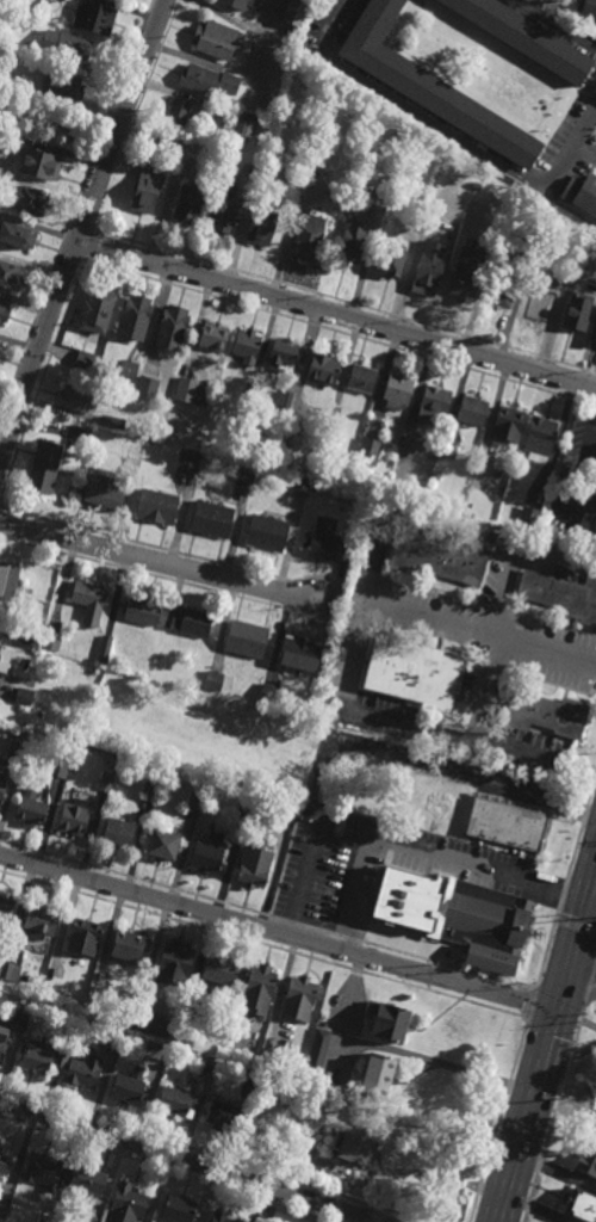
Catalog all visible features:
building: (58, 0)
building: (236, 4)
building: (32, 7)
building: (586, 8)
building: (46, 13)
building: (293, 13)
road: (542, 13)
building: (92, 19)
road: (546, 30)
building: (523, 38)
building: (215, 41)
building: (29, 47)
building: (72, 47)
road: (126, 73)
building: (209, 80)
building: (64, 82)
building: (428, 86)
building: (181, 109)
building: (221, 109)
park: (50, 115)
road: (591, 121)
building: (243, 122)
road: (437, 123)
road: (50, 130)
road: (591, 131)
building: (39, 161)
building: (578, 174)
building: (266, 175)
building: (148, 186)
building: (302, 186)
building: (476, 186)
building: (581, 193)
building: (27, 197)
building: (188, 202)
building: (225, 209)
building: (262, 224)
road: (81, 228)
building: (17, 233)
building: (309, 235)
building: (352, 241)
building: (524, 248)
building: (393, 258)
building: (430, 267)
building: (10, 273)
building: (466, 273)
road: (50, 283)
building: (503, 286)
building: (534, 301)
building: (97, 309)
building: (2, 310)
building: (577, 313)
road: (336, 314)
building: (135, 316)
building: (173, 327)
building: (213, 334)
building: (247, 345)
building: (285, 351)
building: (85, 360)
building: (128, 368)
building: (323, 369)
building: (362, 377)
building: (147, 387)
building: (191, 390)
building: (399, 390)
building: (75, 399)
building: (284, 399)
building: (433, 406)
building: (472, 409)
building: (113, 421)
building: (333, 422)
building: (508, 425)
building: (81, 434)
building: (540, 438)
building: (292, 440)
building: (428, 449)
building: (446, 451)
road: (1, 452)
building: (368, 452)
building: (188, 459)
building: (44, 467)
building: (246, 473)
building: (437, 475)
building: (302, 486)
building: (105, 489)
building: (157, 506)
building: (528, 517)
building: (212, 519)
building: (592, 525)
building: (267, 532)
building: (328, 542)
building: (439, 560)
road: (157, 561)
road: (377, 572)
building: (7, 586)
building: (563, 593)
building: (89, 599)
building: (143, 610)
road: (501, 616)
road: (337, 617)
building: (190, 621)
building: (31, 637)
building: (248, 638)
building: (51, 641)
building: (105, 649)
road: (361, 649)
building: (302, 653)
building: (5, 661)
building: (414, 674)
building: (215, 680)
building: (27, 683)
building: (226, 686)
building: (271, 693)
building: (24, 697)
building: (546, 715)
building: (19, 746)
building: (58, 767)
building: (106, 783)
building: (2, 784)
road: (591, 788)
building: (151, 789)
building: (195, 802)
building: (31, 810)
road: (584, 814)
building: (75, 820)
building: (505, 822)
building: (120, 835)
building: (163, 843)
road: (398, 847)
road: (575, 851)
building: (210, 852)
building: (255, 863)
road: (353, 895)
road: (561, 895)
building: (5, 909)
building: (454, 912)
road: (267, 914)
building: (41, 919)
road: (576, 925)
road: (277, 932)
building: (83, 933)
building: (129, 942)
road: (262, 944)
road: (546, 950)
traffic signals: (569, 951)
building: (176, 957)
road: (582, 958)
building: (219, 965)
building: (10, 969)
road: (352, 982)
road: (589, 986)
building: (259, 987)
building: (95, 994)
building: (298, 996)
road: (529, 1002)
building: (21, 1011)
building: (39, 1016)
building: (386, 1017)
road: (552, 1019)
building: (151, 1022)
road: (588, 1023)
power tower: (584, 1027)
building: (2, 1035)
building: (114, 1038)
road: (545, 1041)
building: (316, 1054)
building: (39, 1056)
building: (268, 1057)
building: (207, 1062)
road: (437, 1063)
building: (83, 1069)
building: (375, 1072)
building: (253, 1075)
building: (130, 1085)
building: (176, 1100)
power tower: (561, 1105)
building: (311, 1110)
building: (223, 1113)
road: (553, 1116)
road: (497, 1118)
building: (352, 1146)
building: (586, 1159)
road: (186, 1160)
building: (4, 1162)
building: (43, 1168)
road: (555, 1171)
building: (88, 1178)
building: (128, 1202)
building: (579, 1204)
building: (180, 1208)
road: (534, 1208)
building: (4, 1209)
building: (223, 1216)
building: (45, 1217)

